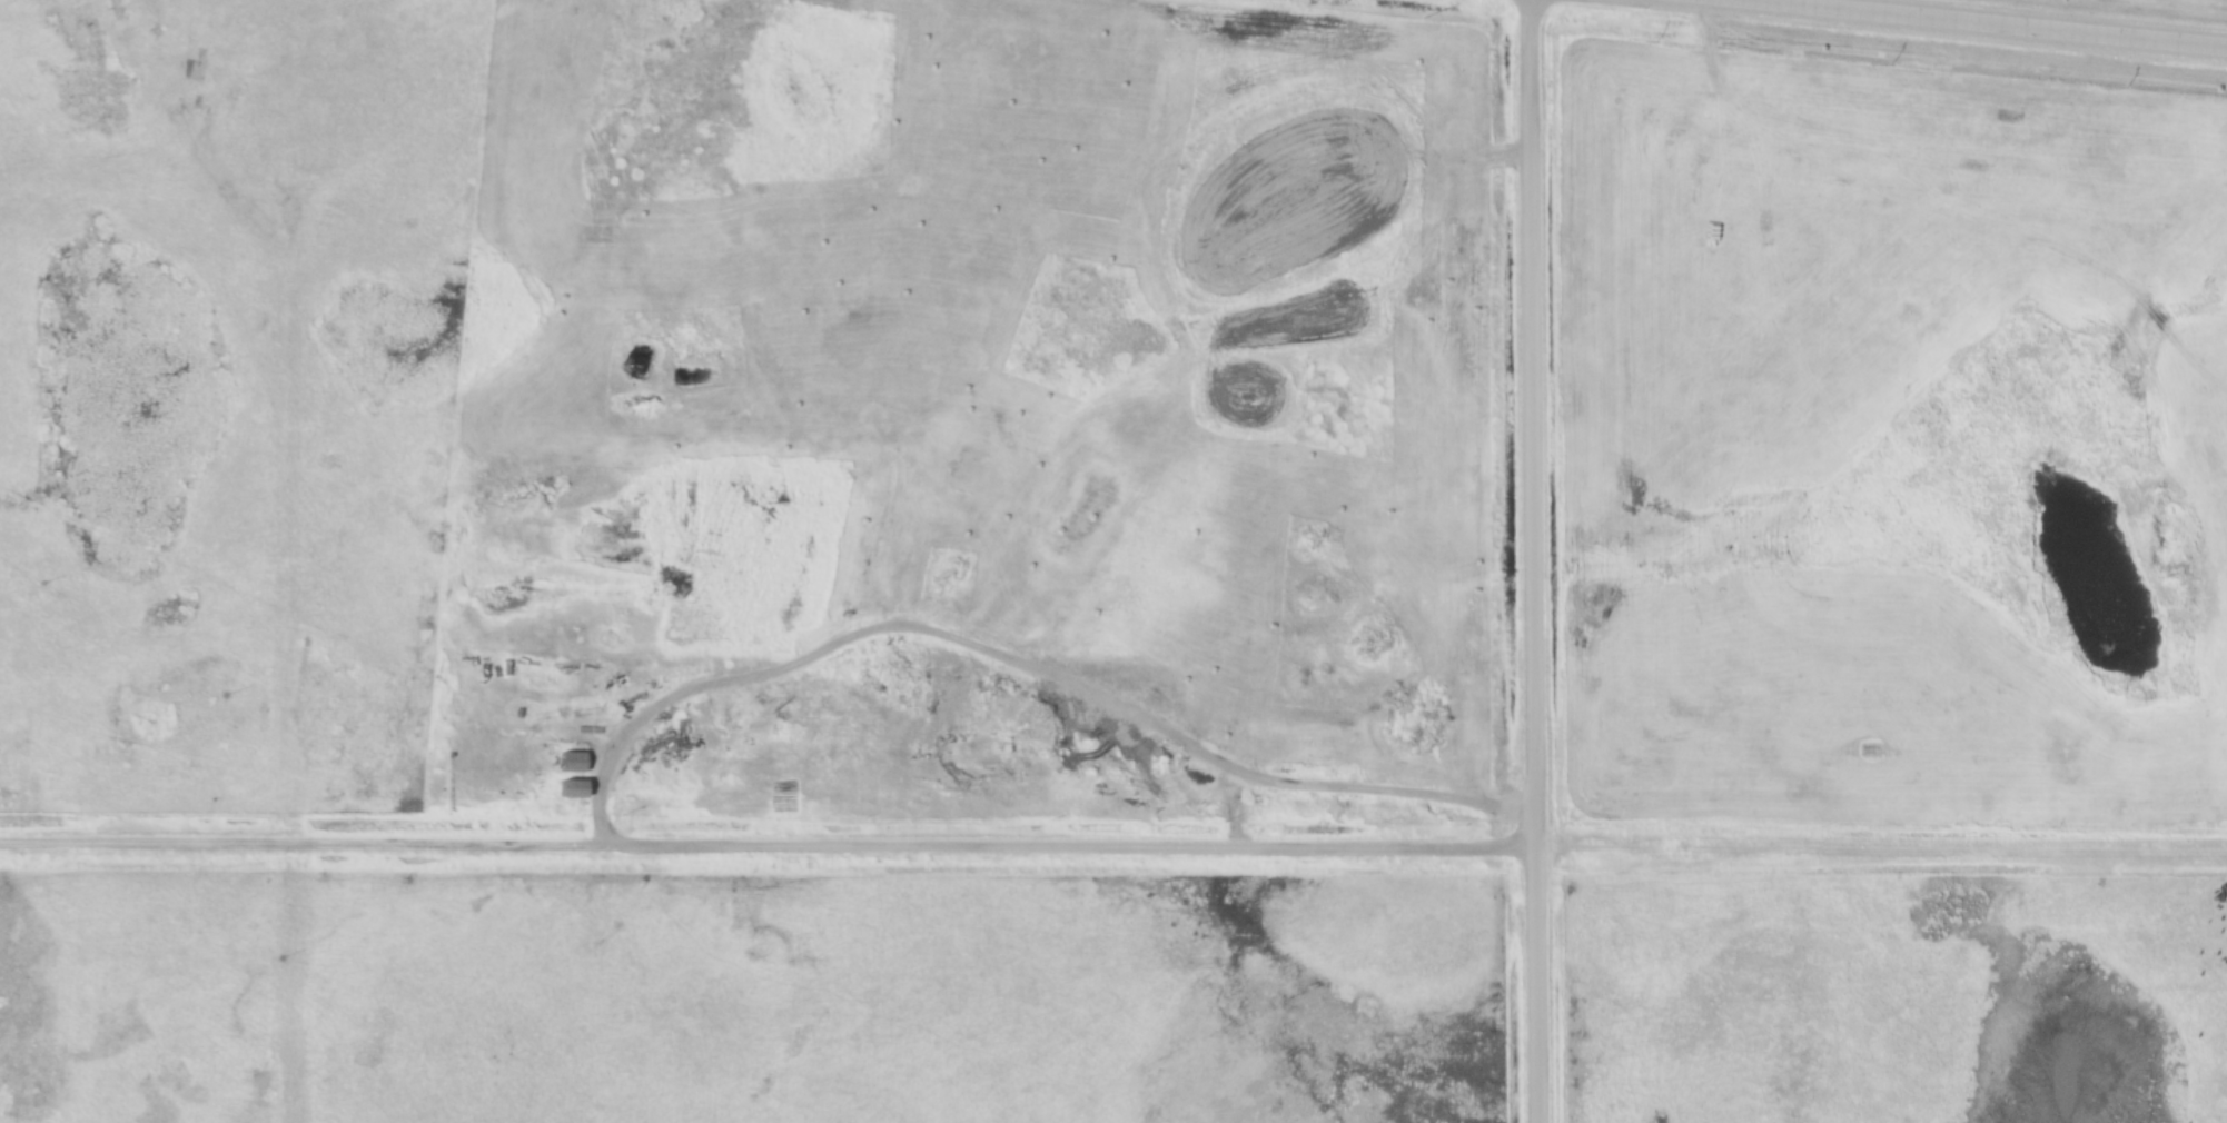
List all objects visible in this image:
road: (2012, 21)
building: (509, 39)
road: (1535, 561)
building: (571, 763)
building: (570, 791)
airport runway: (1956, 845)

